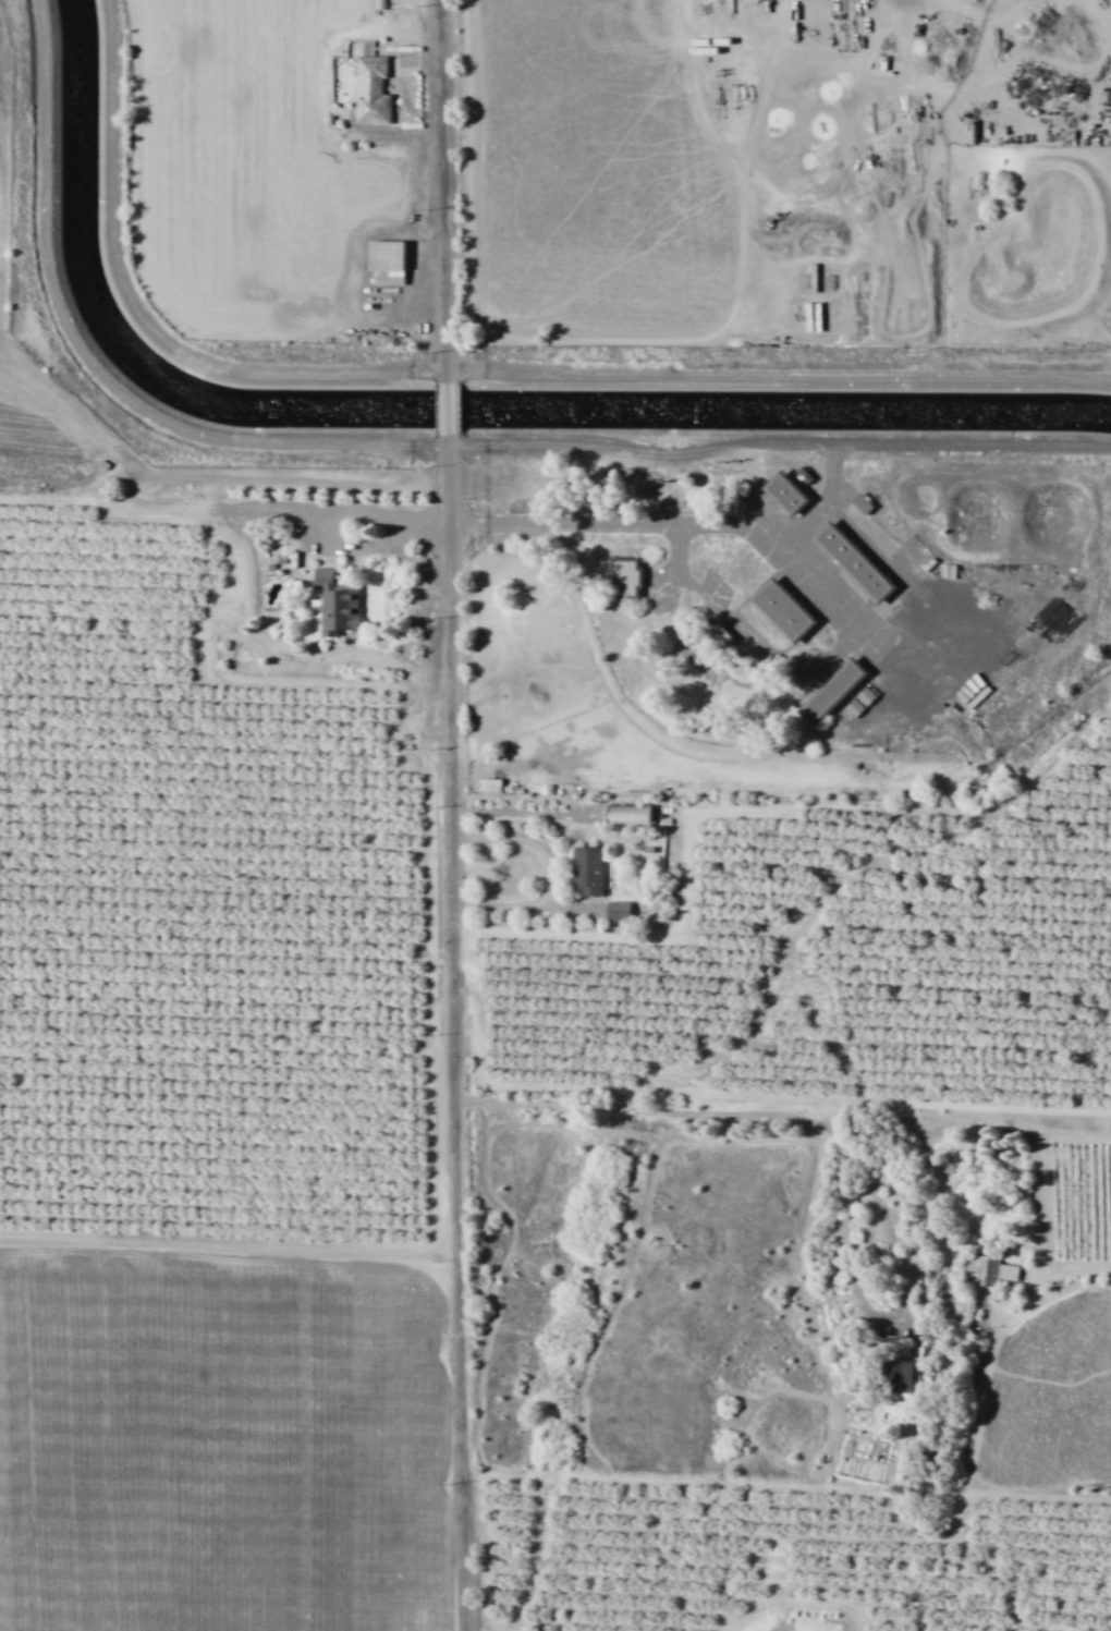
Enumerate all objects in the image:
building: (369, 84)
road: (439, 191)
building: (386, 261)
road: (444, 409)
road: (975, 445)
road: (643, 450)
road: (259, 475)
building: (785, 492)
road: (167, 504)
road: (334, 510)
road: (671, 523)
building: (854, 562)
building: (625, 577)
building: (333, 601)
building: (783, 609)
road: (865, 626)
road: (741, 629)
road: (715, 677)
road: (231, 678)
building: (830, 691)
building: (858, 701)
building: (628, 814)
building: (587, 869)
road: (546, 875)
building: (618, 911)
road: (448, 1033)
road: (227, 1244)
building: (987, 1269)
building: (901, 1375)

